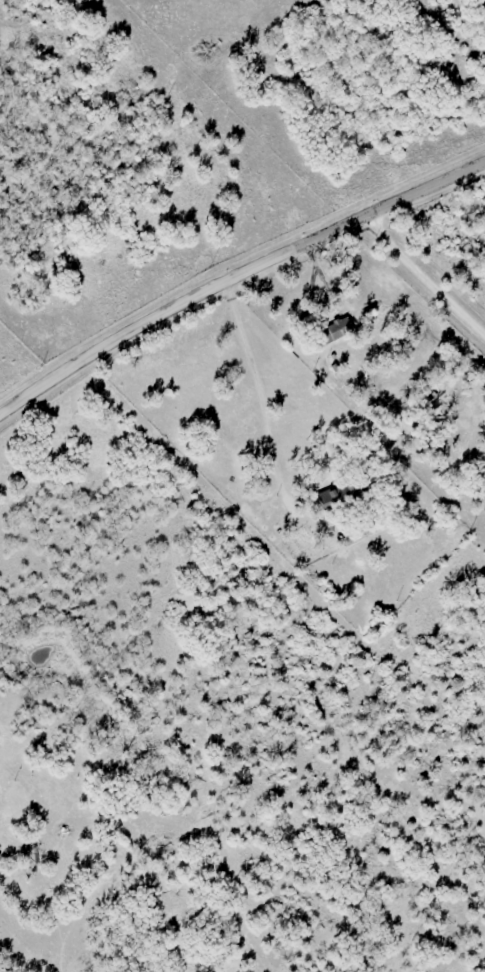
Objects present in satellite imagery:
road: (236, 274)
road: (422, 275)
building: (330, 332)

